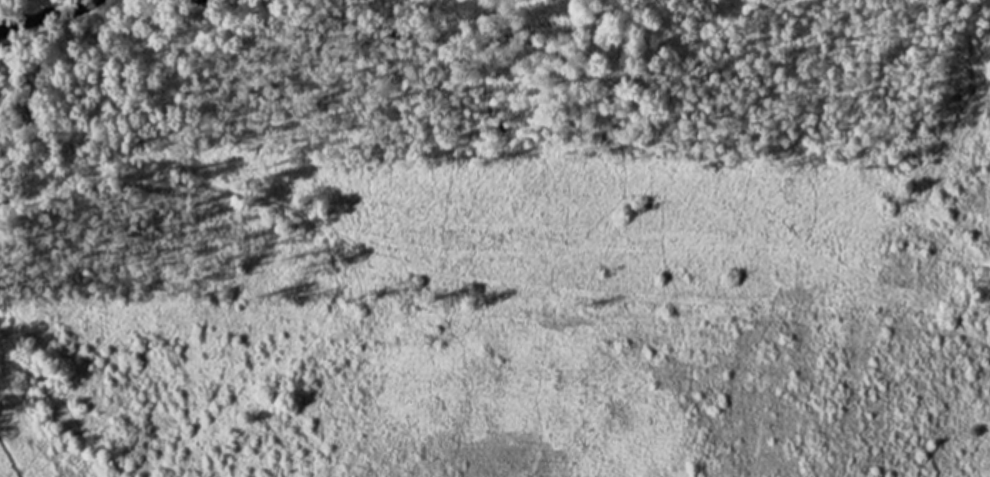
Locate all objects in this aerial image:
river: (62, 31)

